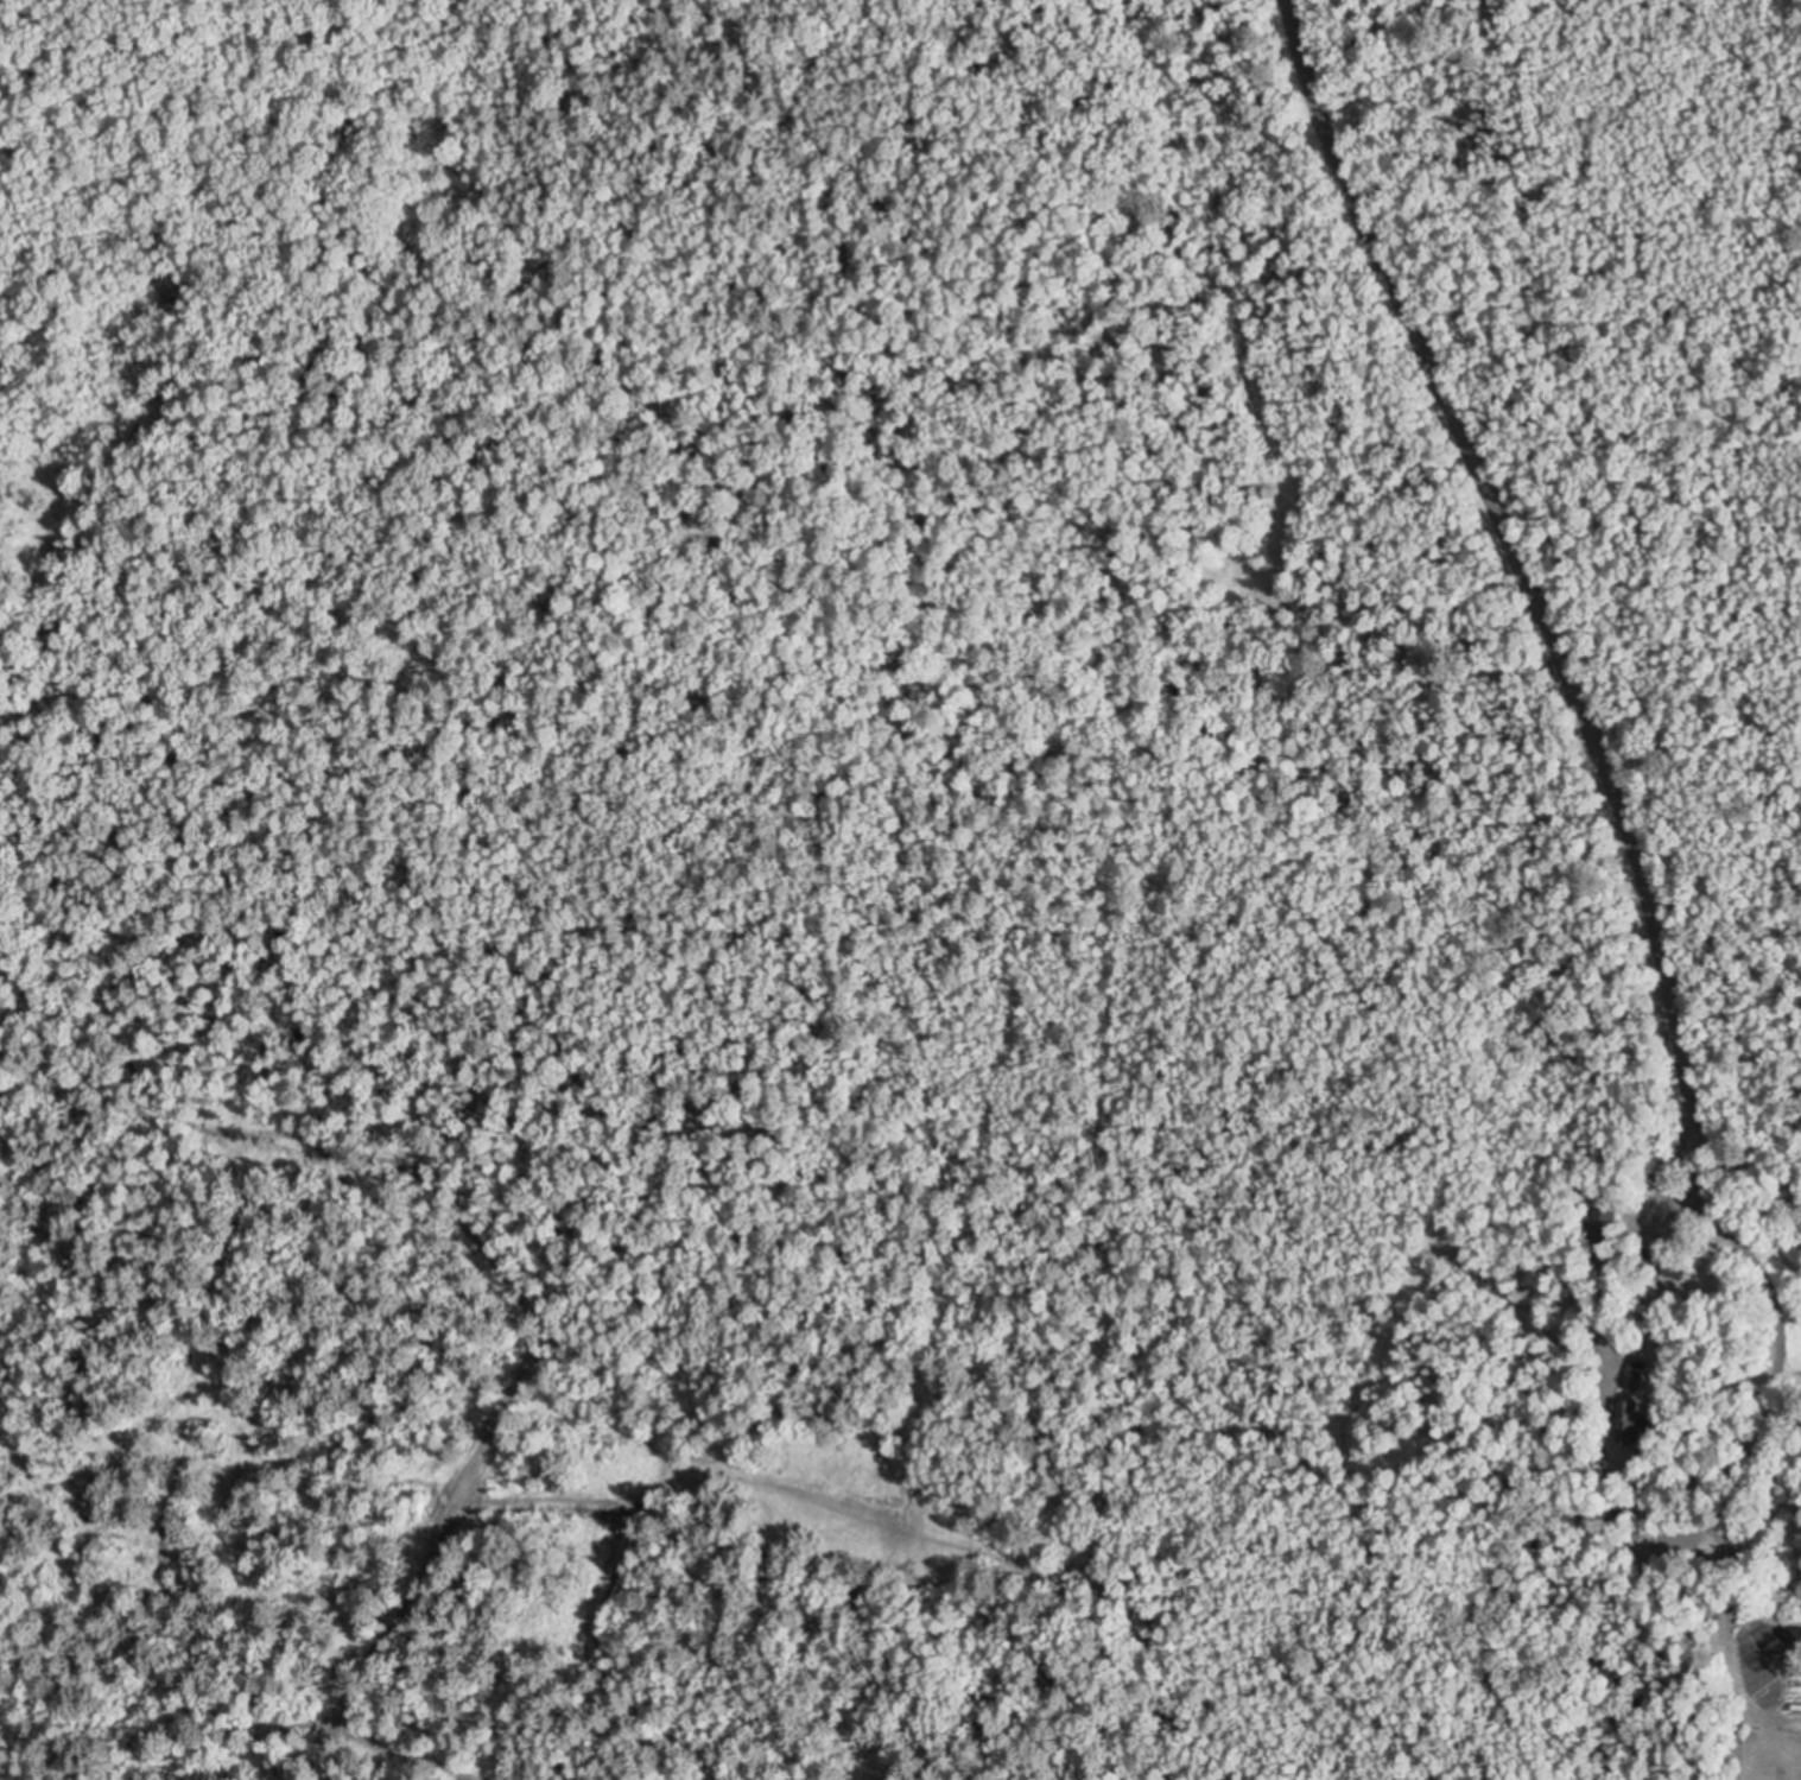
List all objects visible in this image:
road: (1564, 660)
building: (1600, 1227)
building: (1640, 1255)
building: (1676, 1267)
building: (1634, 1379)
building: (1634, 1421)

